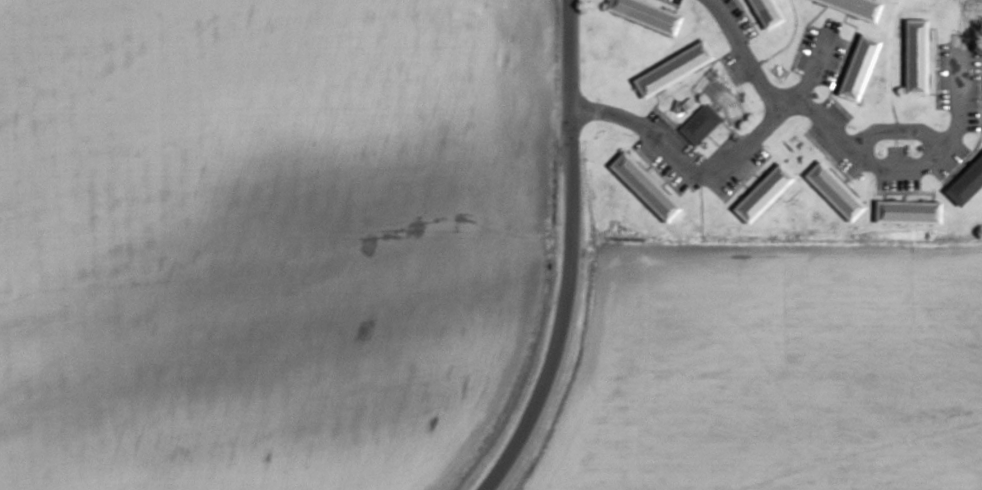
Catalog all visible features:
road: (647, 0)
parking lot: (675, 1)
road: (667, 3)
building: (859, 7)
building: (770, 12)
building: (648, 14)
road: (745, 16)
parking lot: (736, 17)
road: (755, 20)
parking lot: (829, 24)
road: (803, 33)
parking lot: (836, 33)
parking lot: (957, 36)
parking lot: (802, 48)
road: (743, 54)
building: (918, 56)
parking lot: (831, 59)
road: (839, 63)
road: (934, 66)
building: (861, 68)
building: (675, 69)
parking lot: (730, 69)
road: (704, 71)
road: (809, 71)
parking lot: (942, 76)
parking lot: (973, 85)
road: (981, 87)
parking lot: (834, 110)
road: (980, 119)
road: (667, 121)
building: (699, 124)
road: (725, 126)
road: (895, 130)
road: (710, 141)
parking lot: (828, 151)
parking lot: (894, 151)
road: (826, 157)
parking lot: (950, 162)
road: (967, 162)
road: (677, 163)
parking lot: (657, 166)
road: (654, 169)
parking lot: (737, 172)
road: (904, 172)
road: (655, 174)
road: (755, 177)
road: (744, 179)
building: (967, 182)
parking lot: (895, 185)
building: (646, 187)
road: (744, 188)
building: (836, 190)
road: (900, 192)
building: (764, 193)
road: (902, 197)
building: (911, 212)
road: (564, 253)
crop: (770, 368)

